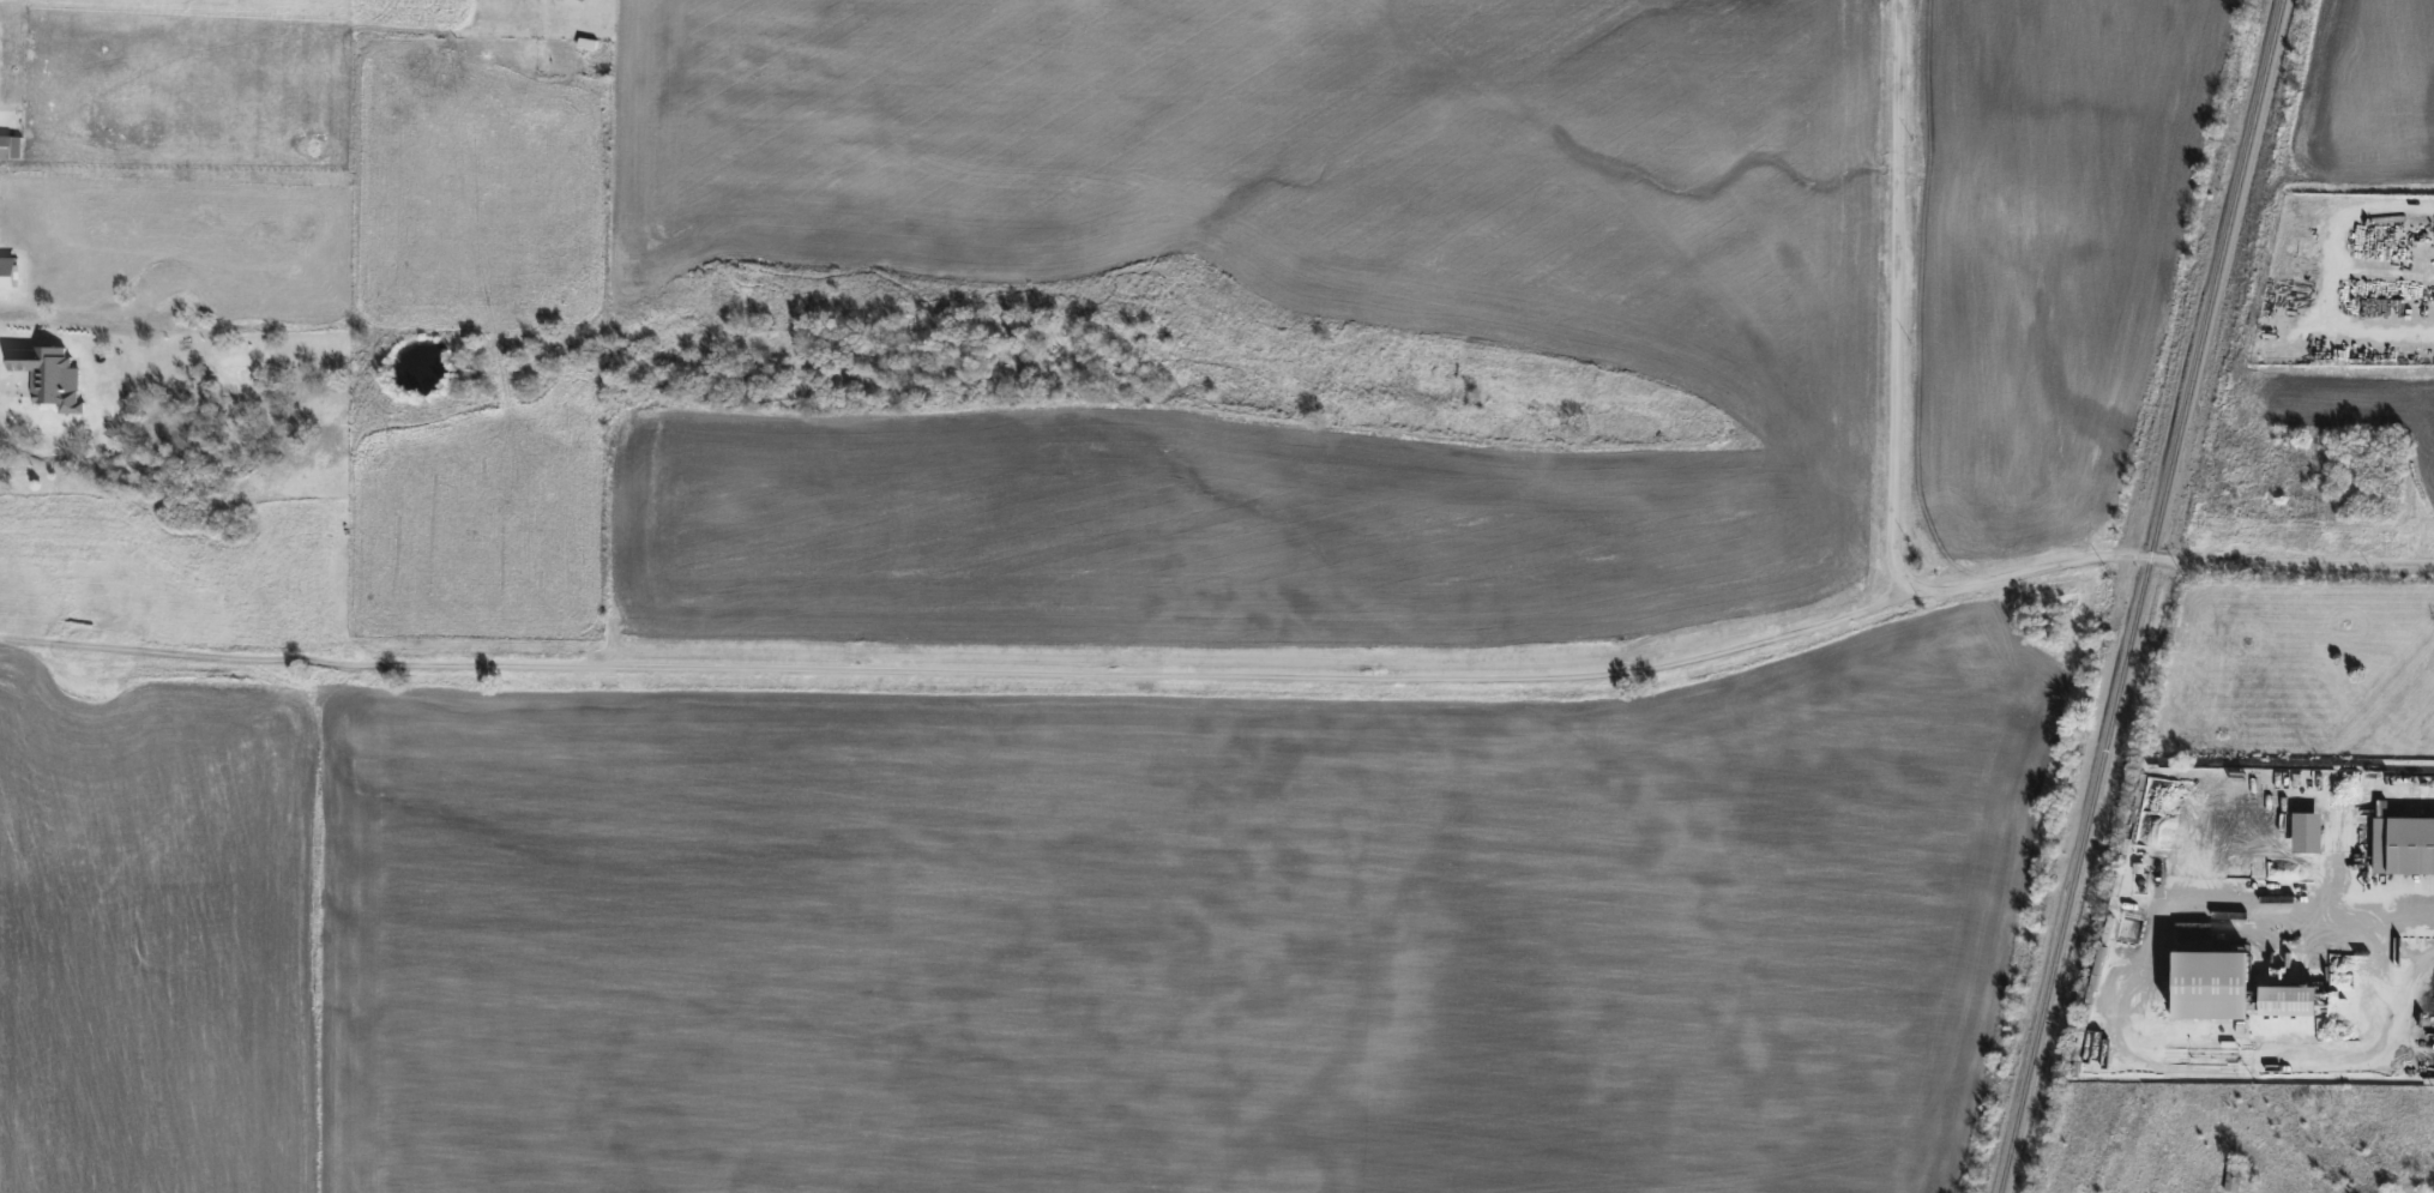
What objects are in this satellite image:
crop: (2369, 97)
road: (1904, 300)
road: (2, 379)
railway: (2141, 596)
road: (1277, 676)
building: (2309, 830)
building: (2404, 843)
road: (2313, 936)
building: (2233, 1176)

